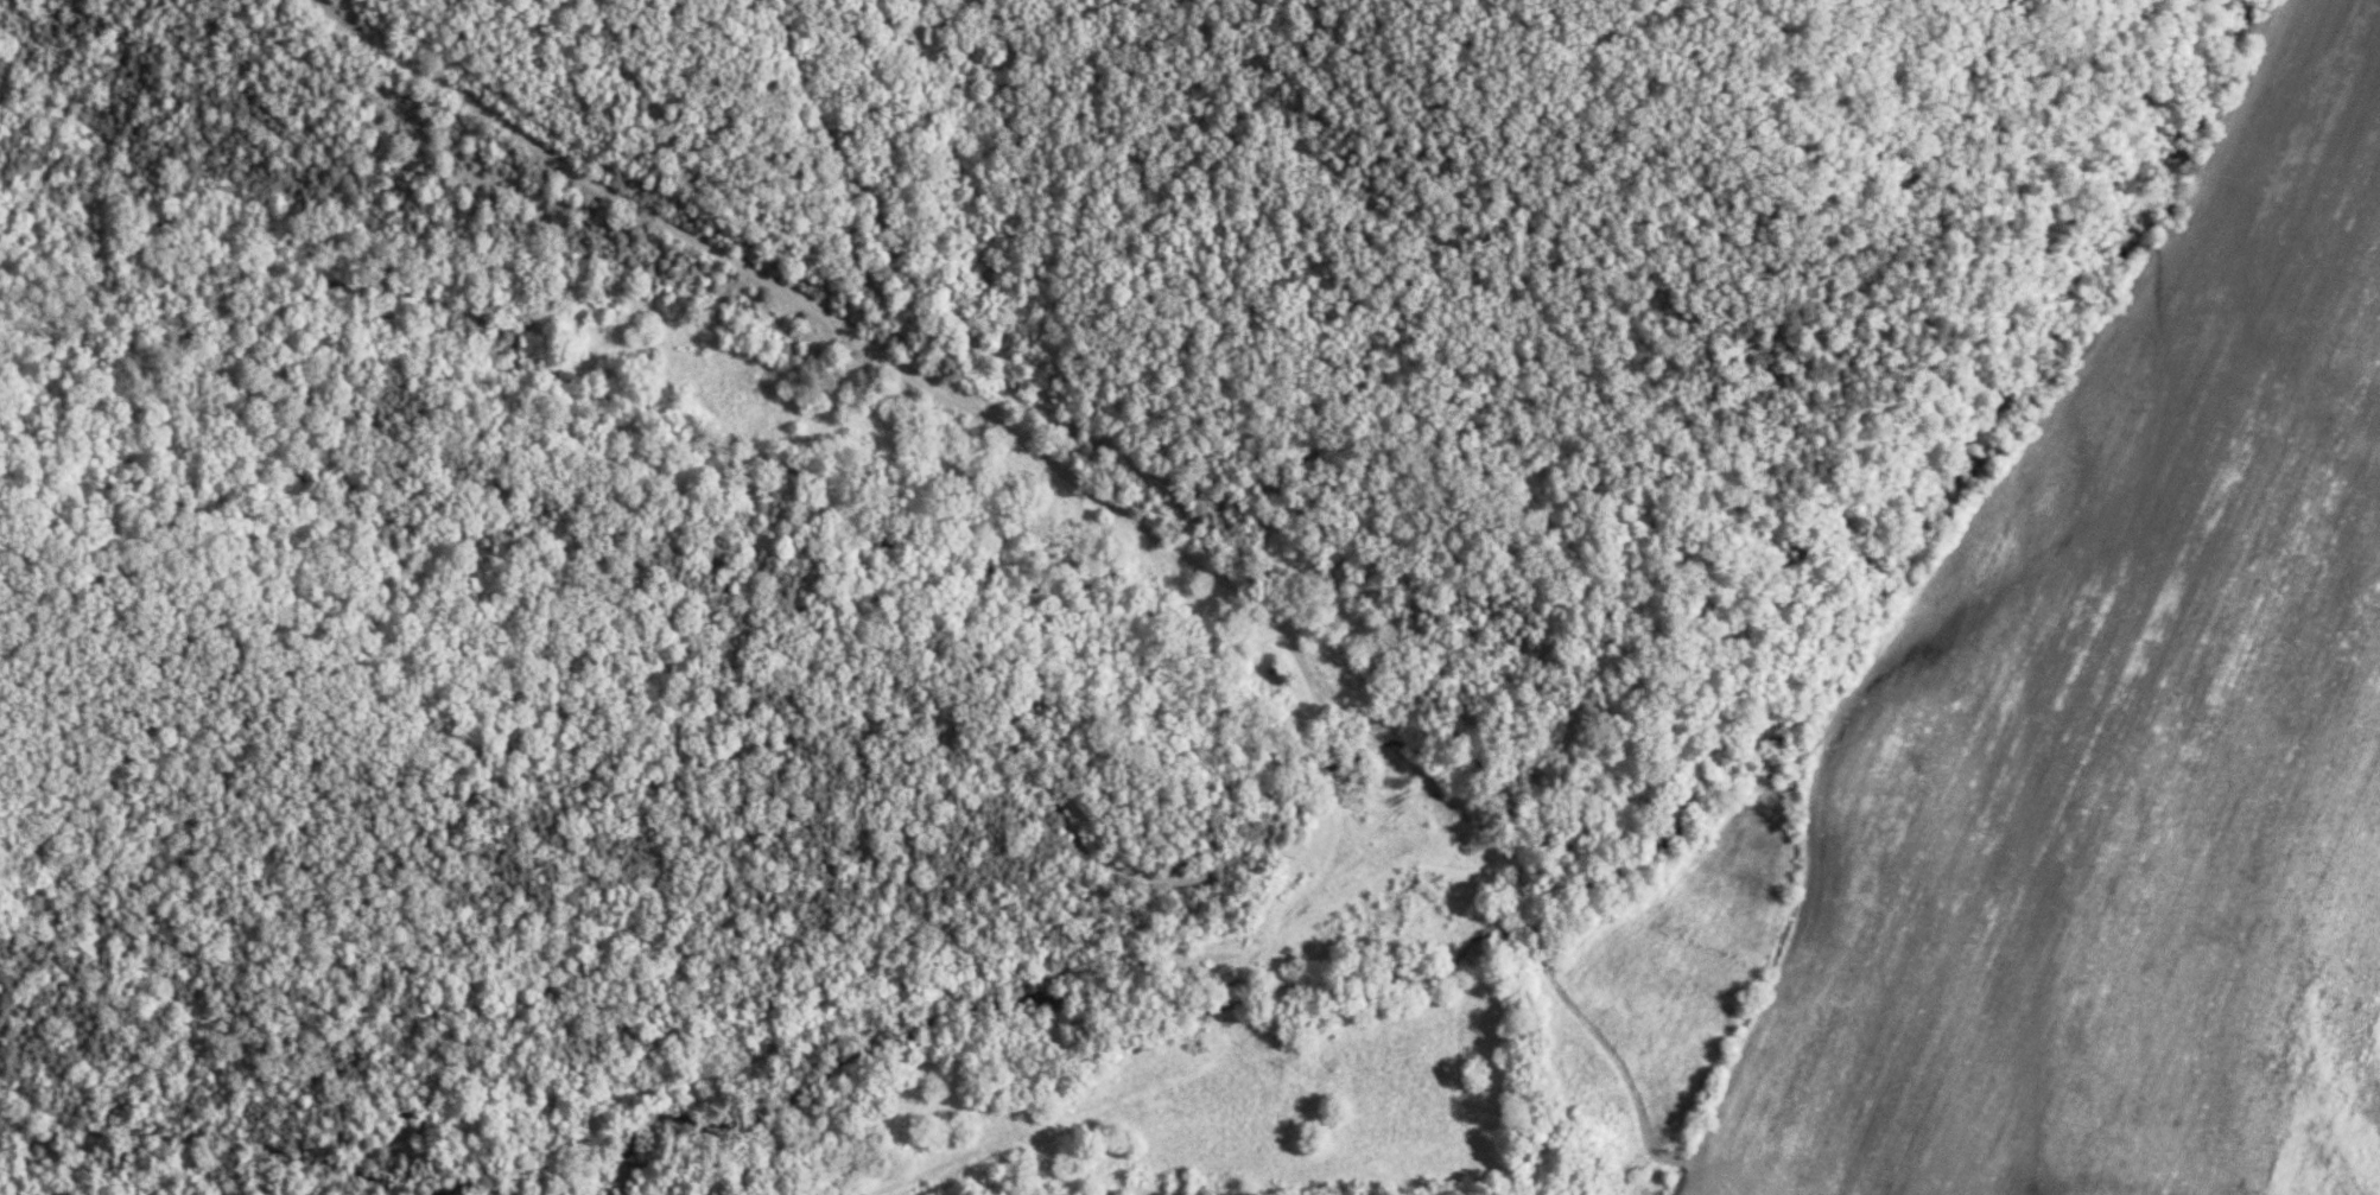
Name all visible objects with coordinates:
road: (989, 422)
road: (1602, 942)

